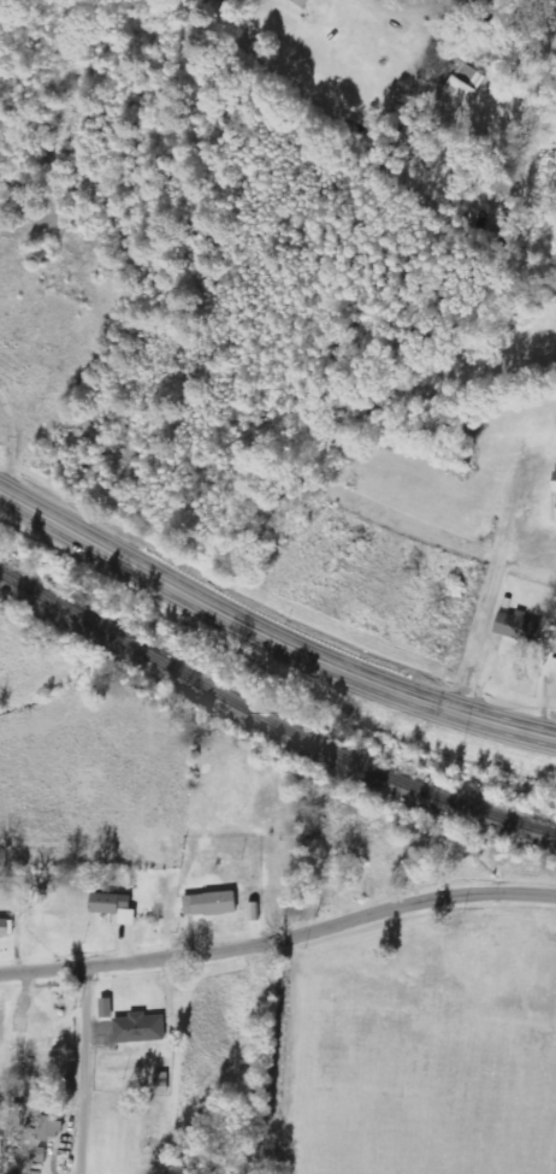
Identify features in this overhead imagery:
building: (302, 2)
building: (463, 88)
building: (555, 483)
building: (517, 626)
road: (266, 641)
building: (554, 645)
railway: (270, 718)
building: (211, 904)
building: (114, 907)
road: (277, 924)
building: (6, 928)
building: (106, 1008)
building: (140, 1028)
road: (83, 1070)
building: (51, 1127)
building: (0, 1146)

